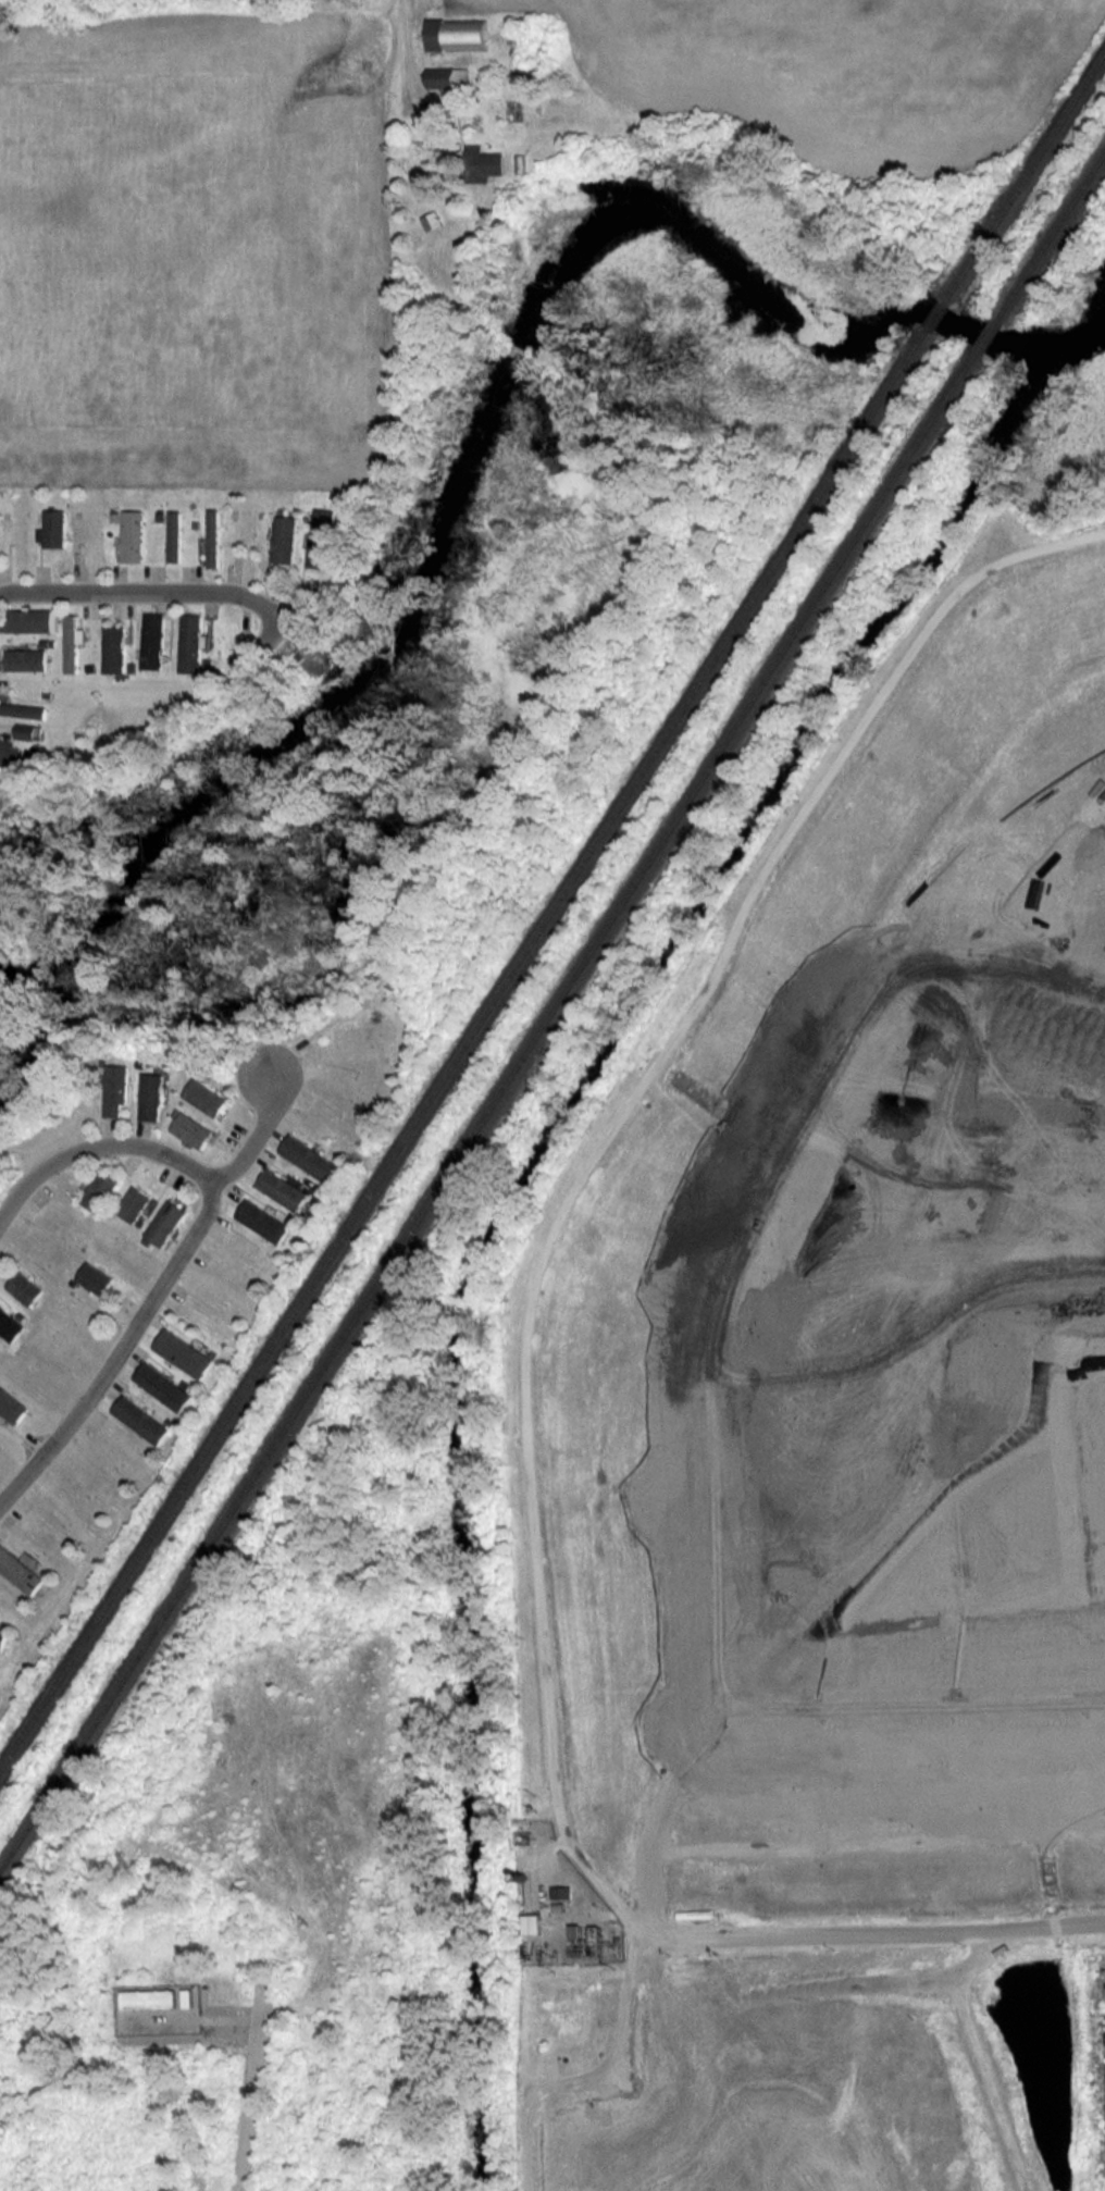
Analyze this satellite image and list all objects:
building: (457, 34)
road: (409, 46)
crop: (807, 64)
building: (448, 77)
building: (483, 163)
railway: (1026, 177)
building: (432, 220)
railway: (1052, 238)
crop: (200, 253)
railway: (938, 315)
railway: (989, 336)
building: (53, 529)
building: (132, 535)
building: (174, 536)
building: (213, 537)
building: (286, 539)
building: (323, 539)
road: (147, 591)
building: (27, 620)
building: (152, 641)
building: (71, 642)
building: (190, 643)
building: (113, 648)
building: (25, 659)
building: (23, 710)
building: (28, 731)
building: (11, 755)
building: (375, 1013)
building: (364, 1030)
railway: (463, 1050)
building: (191, 1059)
building: (102, 1061)
building: (140, 1063)
building: (115, 1087)
building: (151, 1093)
building: (206, 1095)
railway: (488, 1110)
building: (176, 1111)
building: (193, 1128)
road: (258, 1138)
road: (94, 1146)
building: (311, 1156)
building: (338, 1156)
building: (101, 1188)
building: (285, 1188)
building: (316, 1189)
building: (115, 1196)
building: (135, 1202)
building: (293, 1218)
building: (265, 1220)
building: (142, 1221)
building: (167, 1221)
building: (148, 1240)
building: (97, 1276)
building: (74, 1279)
building: (26, 1286)
building: (22, 1314)
building: (10, 1323)
road: (122, 1348)
building: (185, 1351)
building: (214, 1351)
road: (526, 1363)
building: (186, 1383)
building: (164, 1384)
building: (12, 1404)
building: (141, 1419)
building: (170, 1421)
landfill: (839, 1475)
building: (18, 1570)
building: (44, 1571)
road: (839, 1582)
building: (4, 1623)
building: (2, 1635)
building: (562, 1892)
building: (533, 1923)
building: (147, 1998)
parking lot: (1102, 2040)
road: (973, 2056)
road: (595, 2075)
road: (252, 2083)

